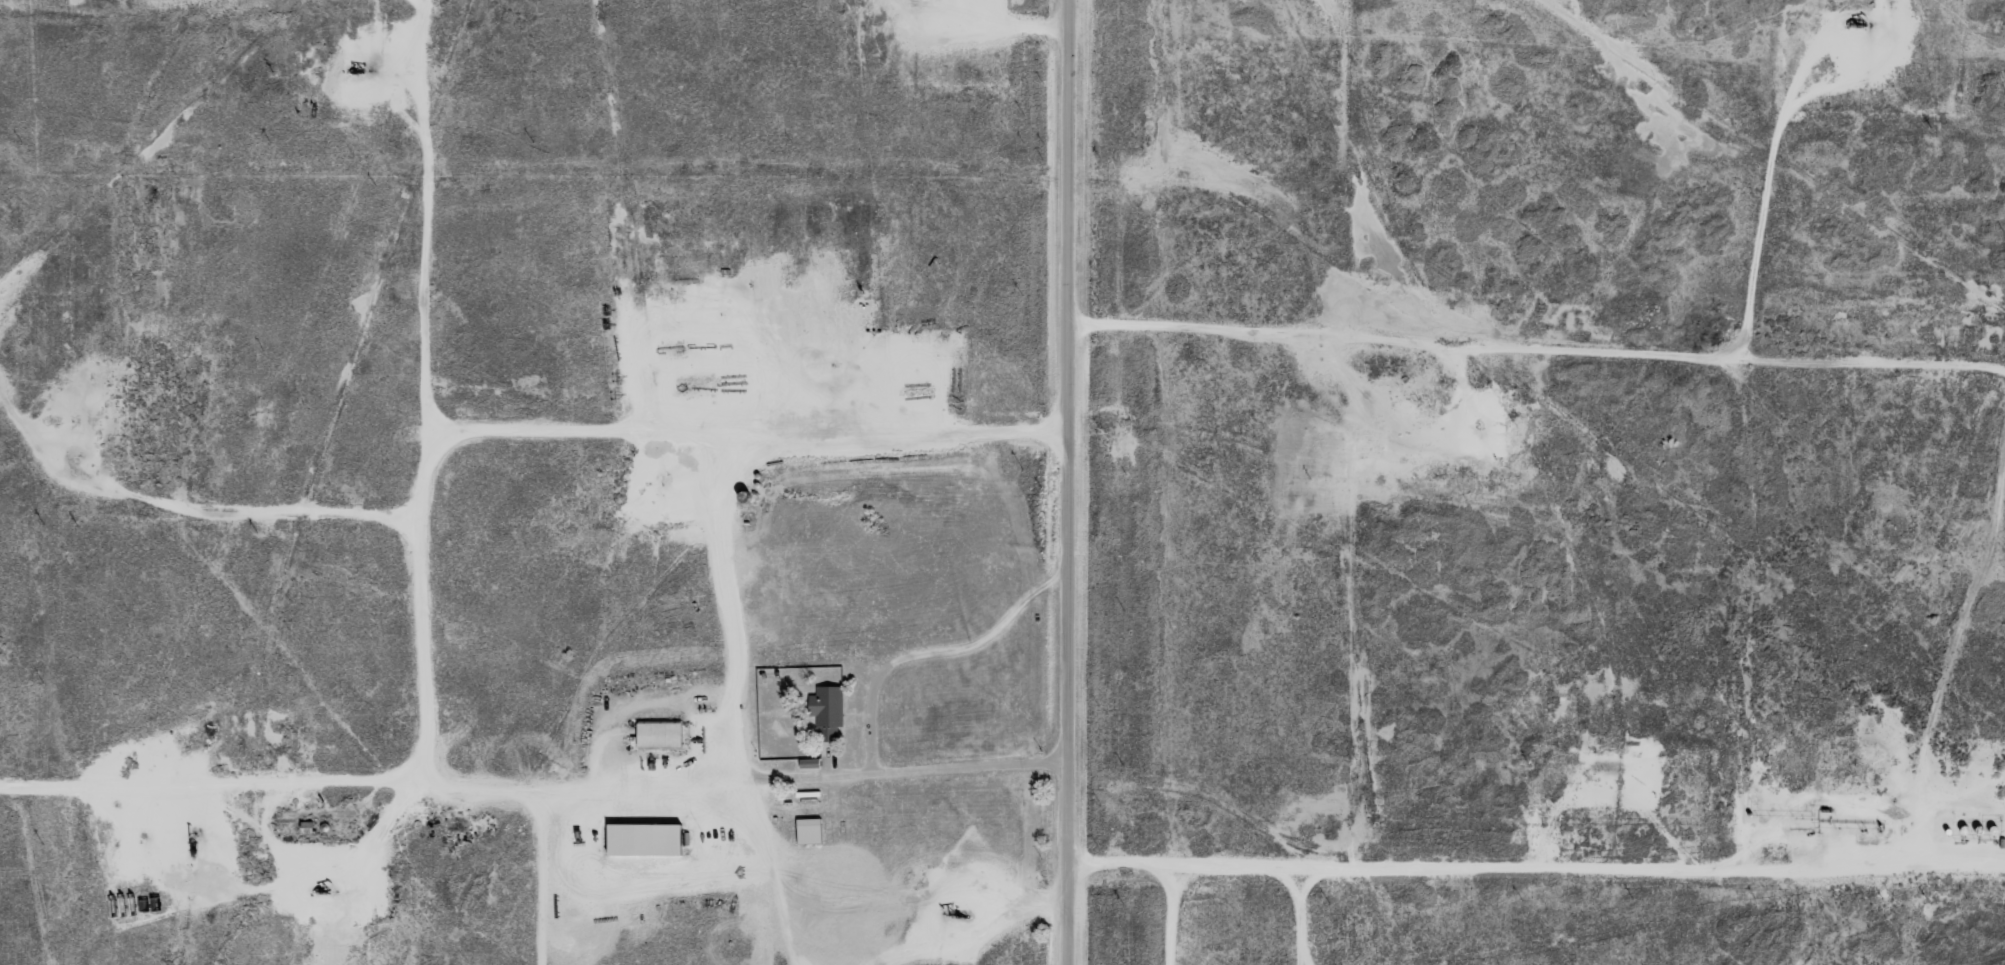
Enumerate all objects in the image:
petroleum well: (1855, 25)
petroleum well: (358, 70)
road: (103, 211)
road: (1534, 320)
road: (1061, 482)
road: (325, 489)
road: (531, 773)
petroleum well: (190, 830)
building: (648, 839)
road: (1965, 844)
road: (1594, 848)
road: (775, 864)
petroleum well: (316, 883)
petroleum well: (955, 911)

